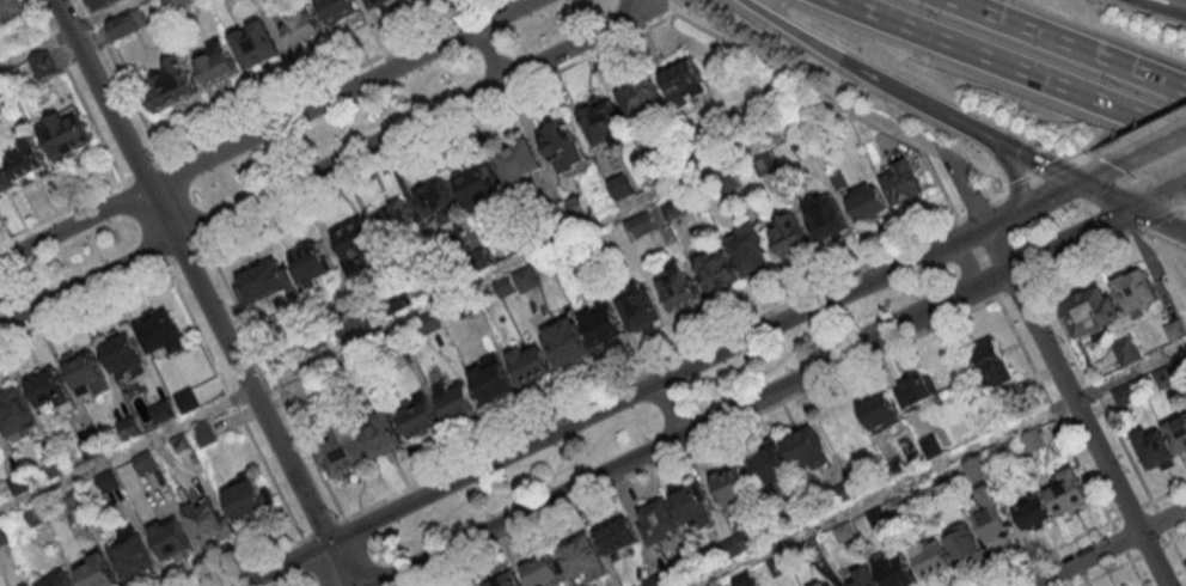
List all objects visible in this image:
building: (378, 2)
road: (653, 2)
building: (105, 4)
building: (176, 4)
road: (1166, 5)
building: (12, 11)
building: (340, 11)
road: (105, 16)
building: (127, 23)
building: (302, 24)
building: (256, 43)
road: (1056, 48)
road: (36, 49)
road: (820, 49)
road: (489, 53)
building: (43, 63)
building: (218, 63)
road: (1007, 73)
building: (683, 79)
road: (124, 81)
road: (332, 81)
building: (172, 84)
road: (527, 88)
road: (79, 91)
building: (643, 99)
road: (947, 115)
building: (601, 118)
building: (65, 132)
road: (265, 132)
road: (1131, 133)
road: (1160, 138)
building: (563, 145)
road: (930, 148)
building: (26, 157)
road: (1034, 159)
building: (519, 160)
road: (328, 165)
road: (1106, 165)
road: (1011, 170)
road: (146, 172)
building: (4, 179)
traffic signals: (1077, 181)
building: (903, 182)
building: (479, 185)
building: (622, 185)
road: (1016, 189)
road: (1052, 193)
road: (1178, 193)
building: (866, 200)
building: (440, 201)
road: (187, 203)
road: (1086, 205)
road: (1184, 205)
building: (580, 206)
building: (677, 206)
road: (1131, 206)
traffic signals: (1141, 210)
road: (62, 213)
road: (1160, 215)
building: (827, 219)
road: (145, 224)
road: (1179, 227)
building: (787, 232)
building: (374, 234)
road: (1162, 239)
building: (750, 251)
road: (187, 255)
road: (1084, 255)
building: (314, 261)
road: (970, 262)
road: (194, 269)
building: (717, 270)
building: (264, 281)
building: (518, 281)
road: (1019, 287)
building: (679, 288)
building: (1136, 289)
road: (82, 304)
road: (422, 310)
building: (1093, 310)
building: (640, 311)
road: (923, 312)
building: (604, 323)
building: (1175, 330)
building: (161, 334)
building: (568, 346)
building: (1126, 348)
building: (124, 354)
building: (994, 361)
building: (531, 368)
road: (652, 370)
building: (86, 372)
road: (276, 381)
building: (493, 383)
building: (49, 387)
road: (1094, 389)
building: (916, 390)
road: (631, 395)
building: (457, 399)
road: (234, 402)
road: (1074, 405)
building: (14, 408)
road: (667, 409)
road: (1054, 410)
building: (881, 411)
building: (418, 416)
building: (1178, 432)
building: (381, 433)
building: (844, 433)
road: (707, 439)
building: (343, 450)
building: (807, 450)
building: (770, 463)
road: (939, 465)
building: (978, 468)
building: (108, 481)
building: (733, 484)
road: (1168, 489)
building: (1069, 490)
building: (247, 499)
building: (693, 505)
road: (525, 509)
building: (1033, 511)
building: (208, 520)
building: (660, 520)
building: (994, 520)
road: (324, 529)
building: (617, 535)
road: (1178, 535)
building: (172, 539)
traffic signals: (326, 542)
building: (964, 544)
road: (1105, 547)
road: (361, 553)
road: (1046, 554)
road: (1178, 554)
building: (133, 556)
building: (931, 556)
building: (582, 557)
road: (255, 562)
road: (316, 562)
road: (337, 563)
road: (1115, 566)
building: (97, 572)
building: (544, 572)
building: (898, 572)
building: (866, 576)
building: (59, 579)
building: (506, 580)
building: (826, 582)
building: (29, 585)

